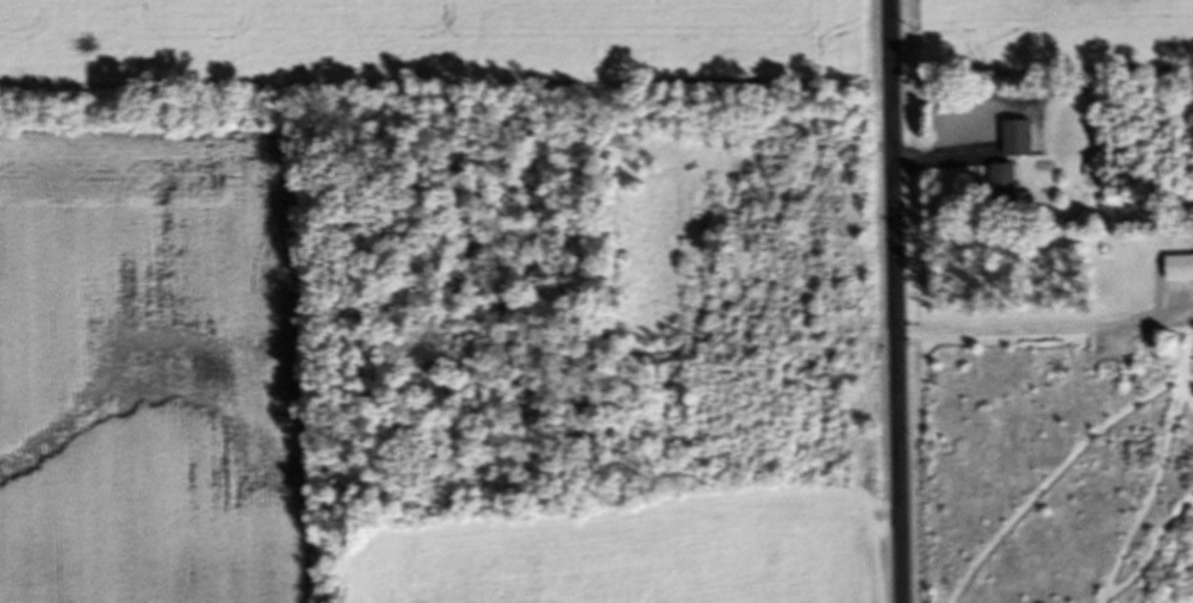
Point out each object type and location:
building: (1021, 141)
building: (1007, 189)
building: (1180, 273)
road: (886, 301)
road: (1030, 329)

